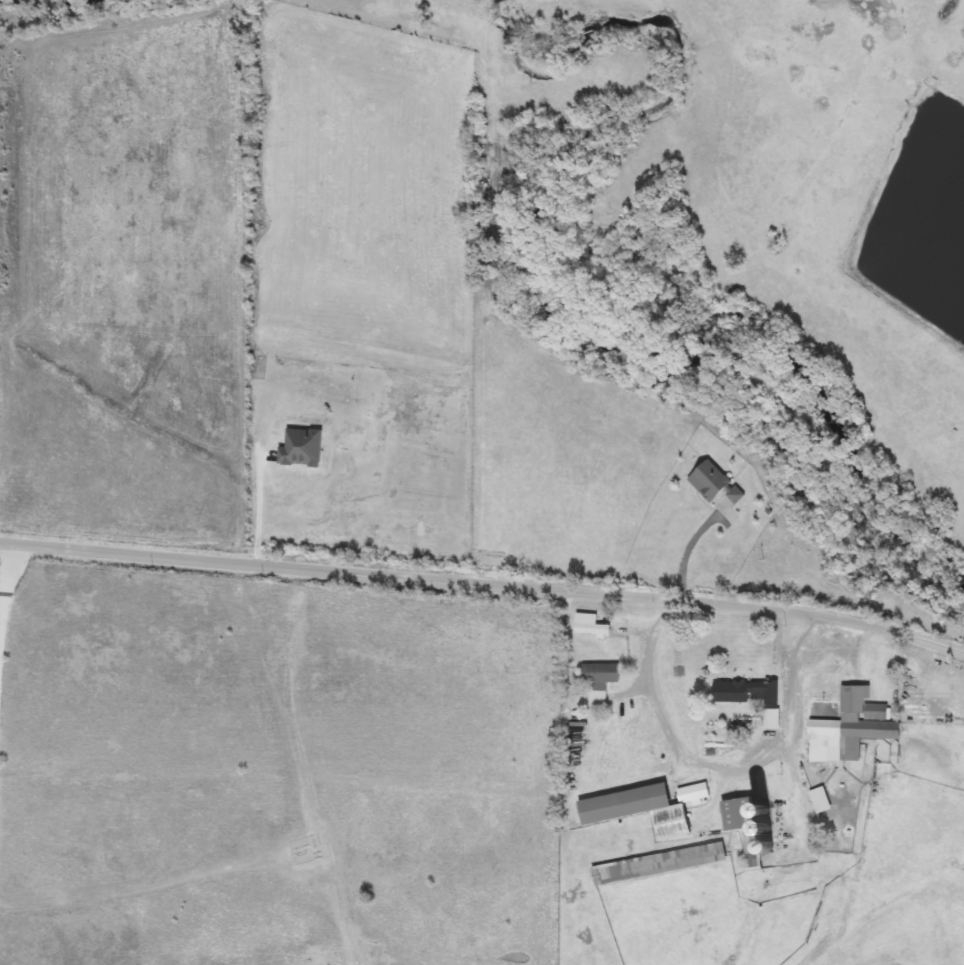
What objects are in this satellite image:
building: (302, 448)
building: (714, 485)
road: (258, 506)
road: (690, 547)
road: (484, 585)
road: (5, 624)
building: (590, 625)
building: (600, 681)
building: (825, 689)
building: (751, 697)
building: (856, 723)
road: (706, 754)
building: (820, 800)
building: (646, 808)
building: (748, 829)
building: (659, 864)

